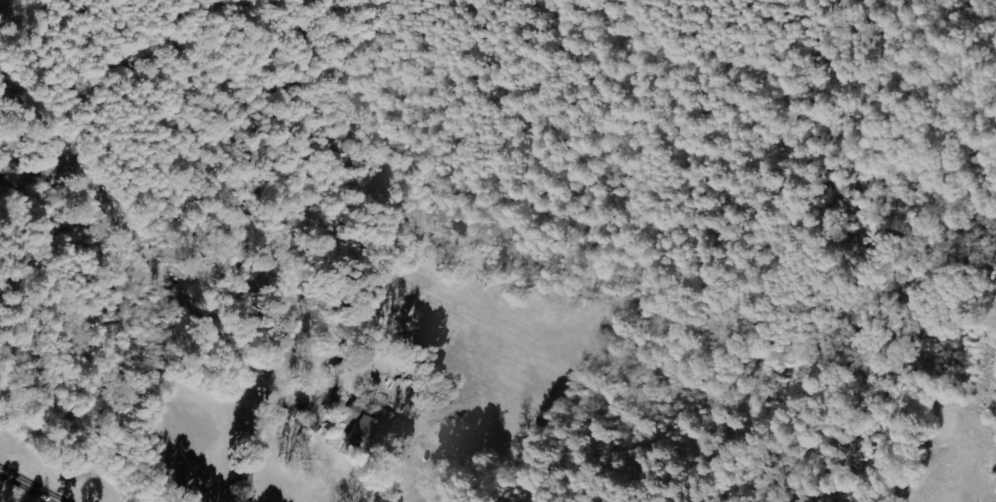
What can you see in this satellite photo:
road: (31, 25)
building: (371, 426)
road: (31, 484)

